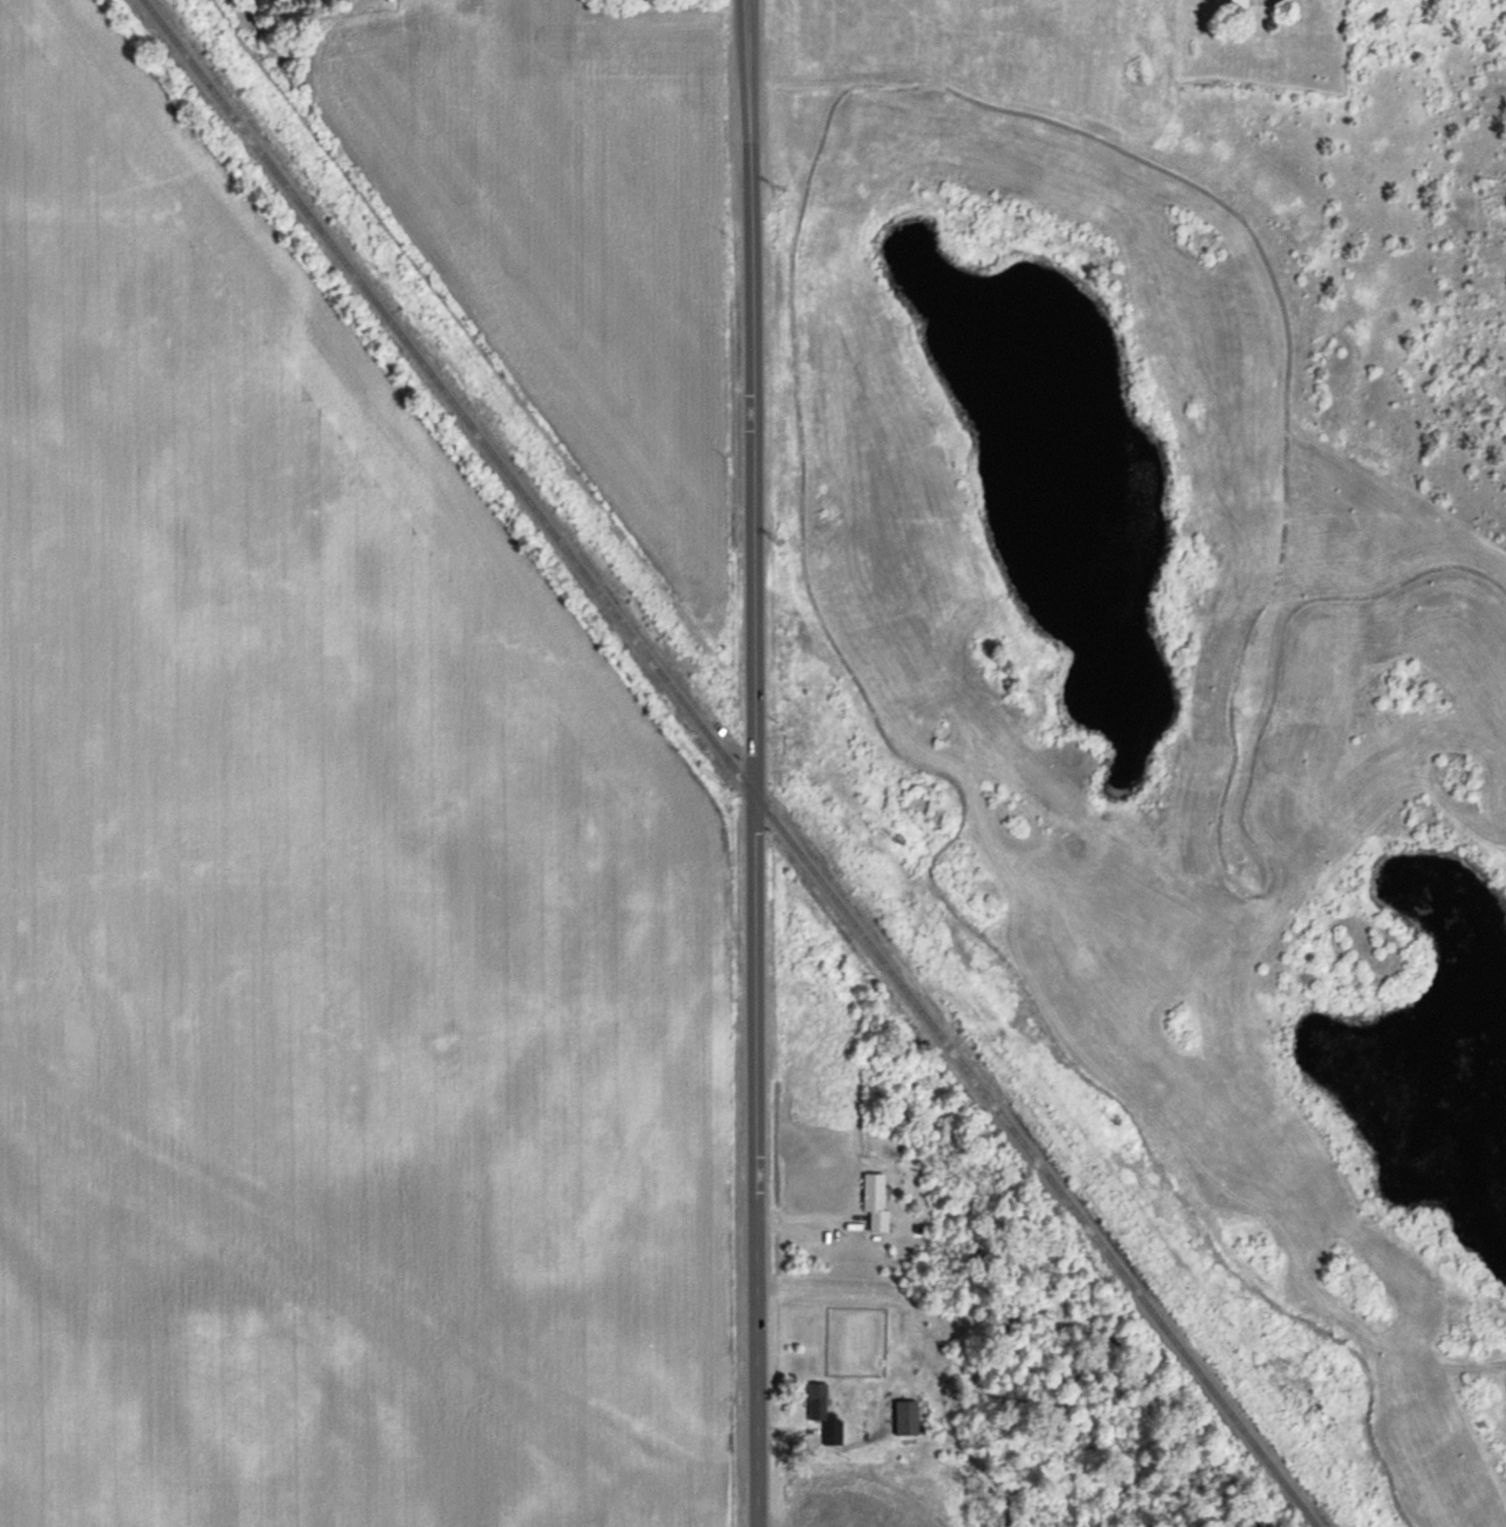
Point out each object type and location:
building: (1237, 4)
power tower: (778, 190)
railway: (727, 762)
road: (752, 763)
building: (873, 1201)
road: (807, 1219)
building: (821, 1414)
building: (904, 1419)
building: (833, 1499)
building: (881, 1523)

